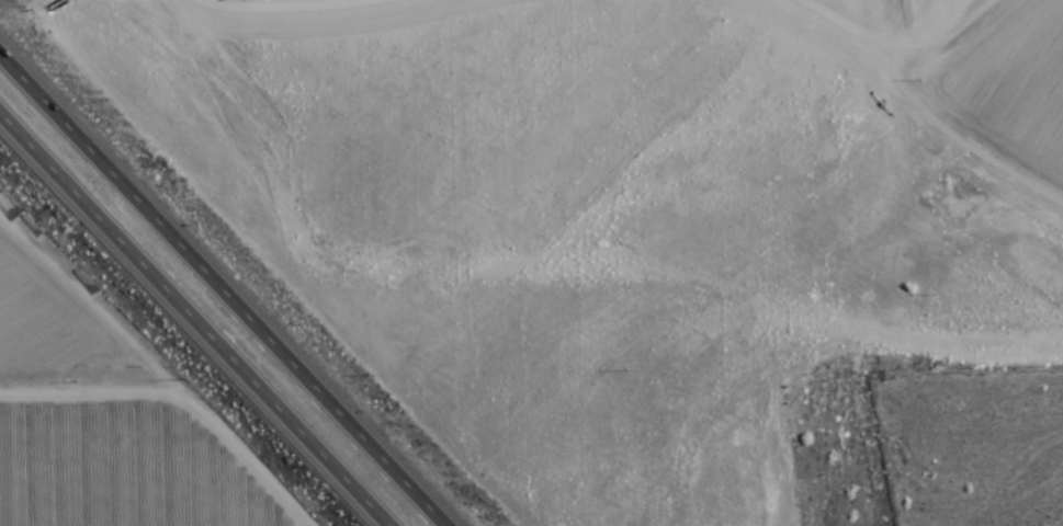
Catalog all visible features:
road: (979, 124)
road: (884, 263)
road: (227, 283)
road: (189, 323)
crop: (108, 416)

